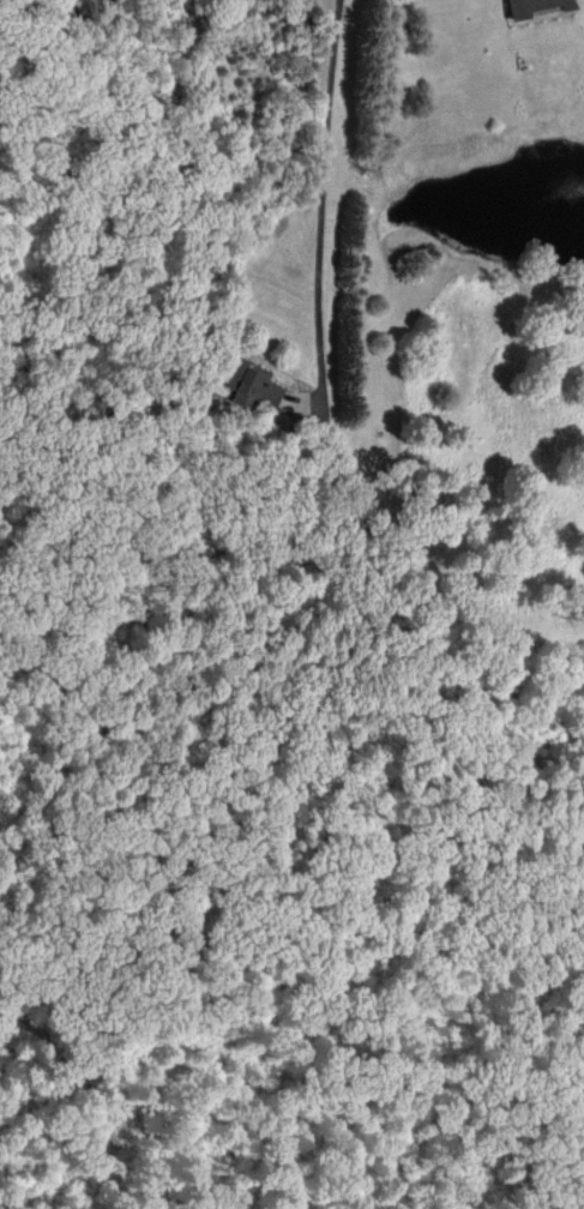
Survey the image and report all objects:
building: (530, 6)
building: (248, 384)

